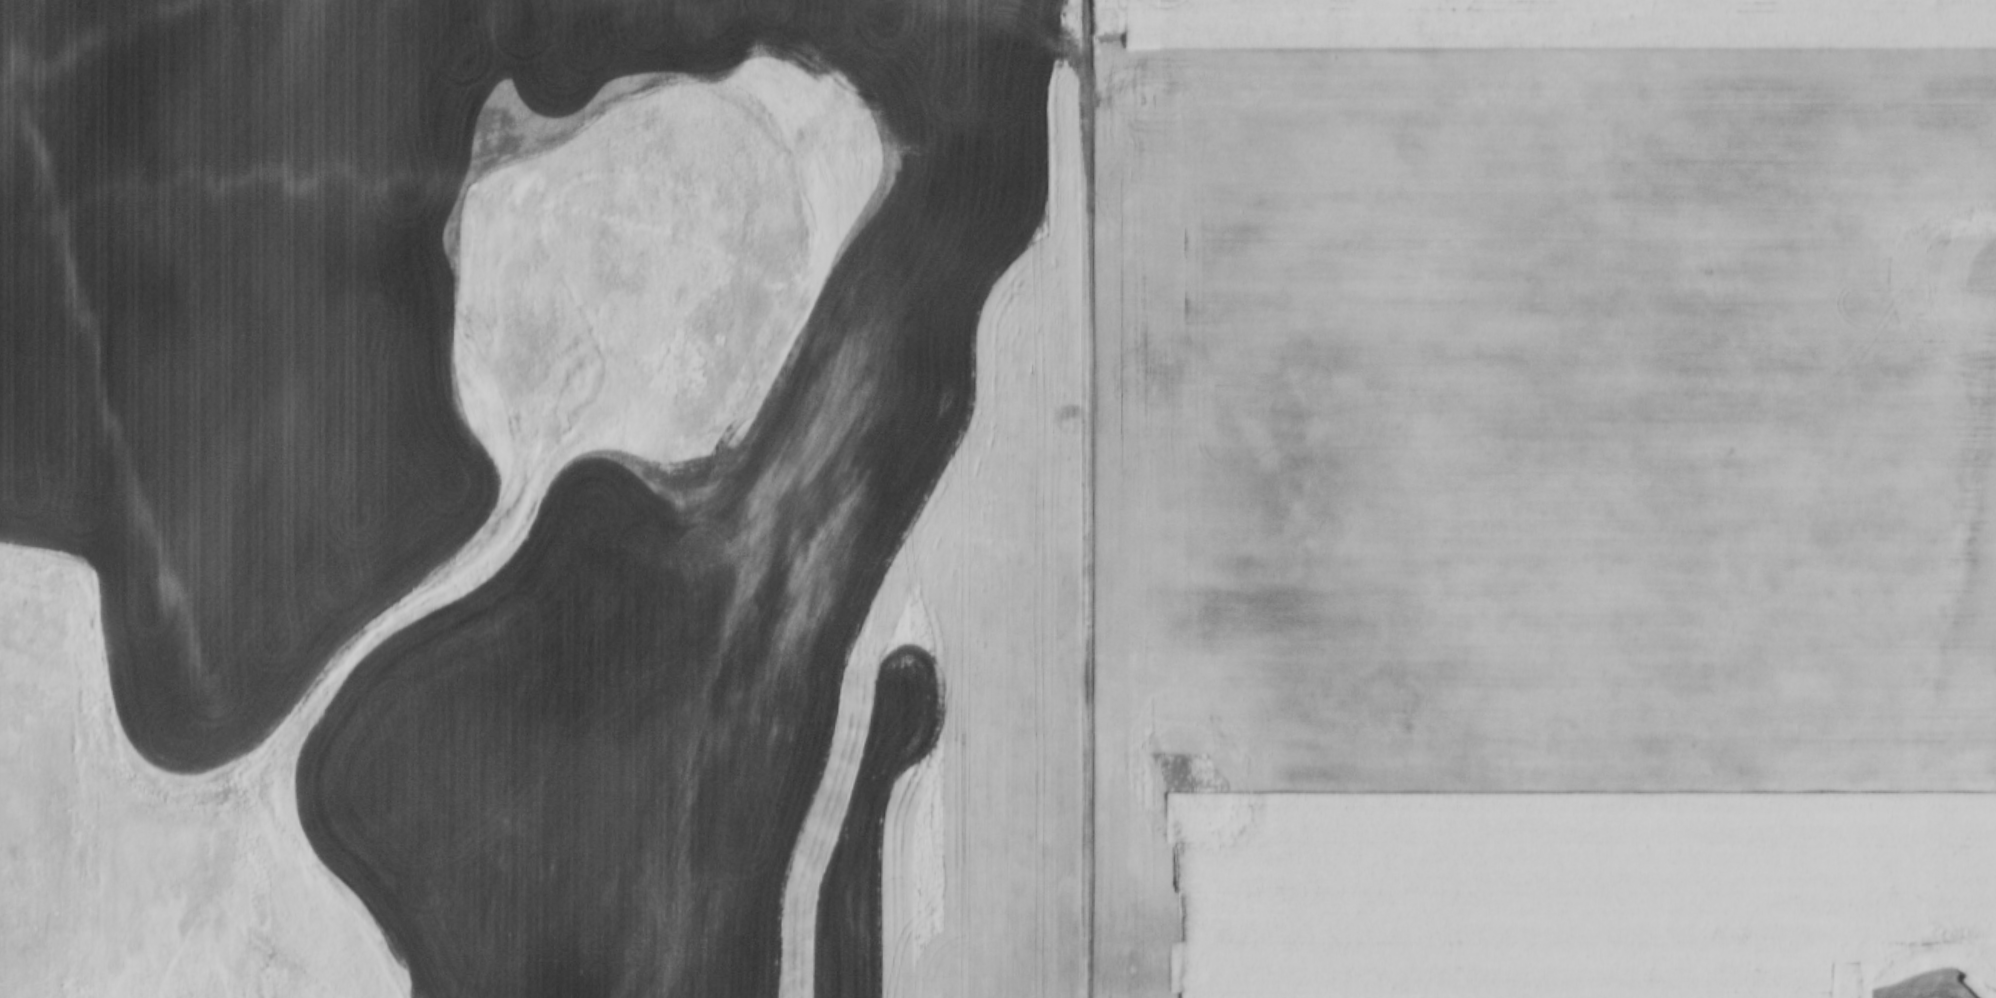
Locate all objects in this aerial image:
road: (1097, 499)

